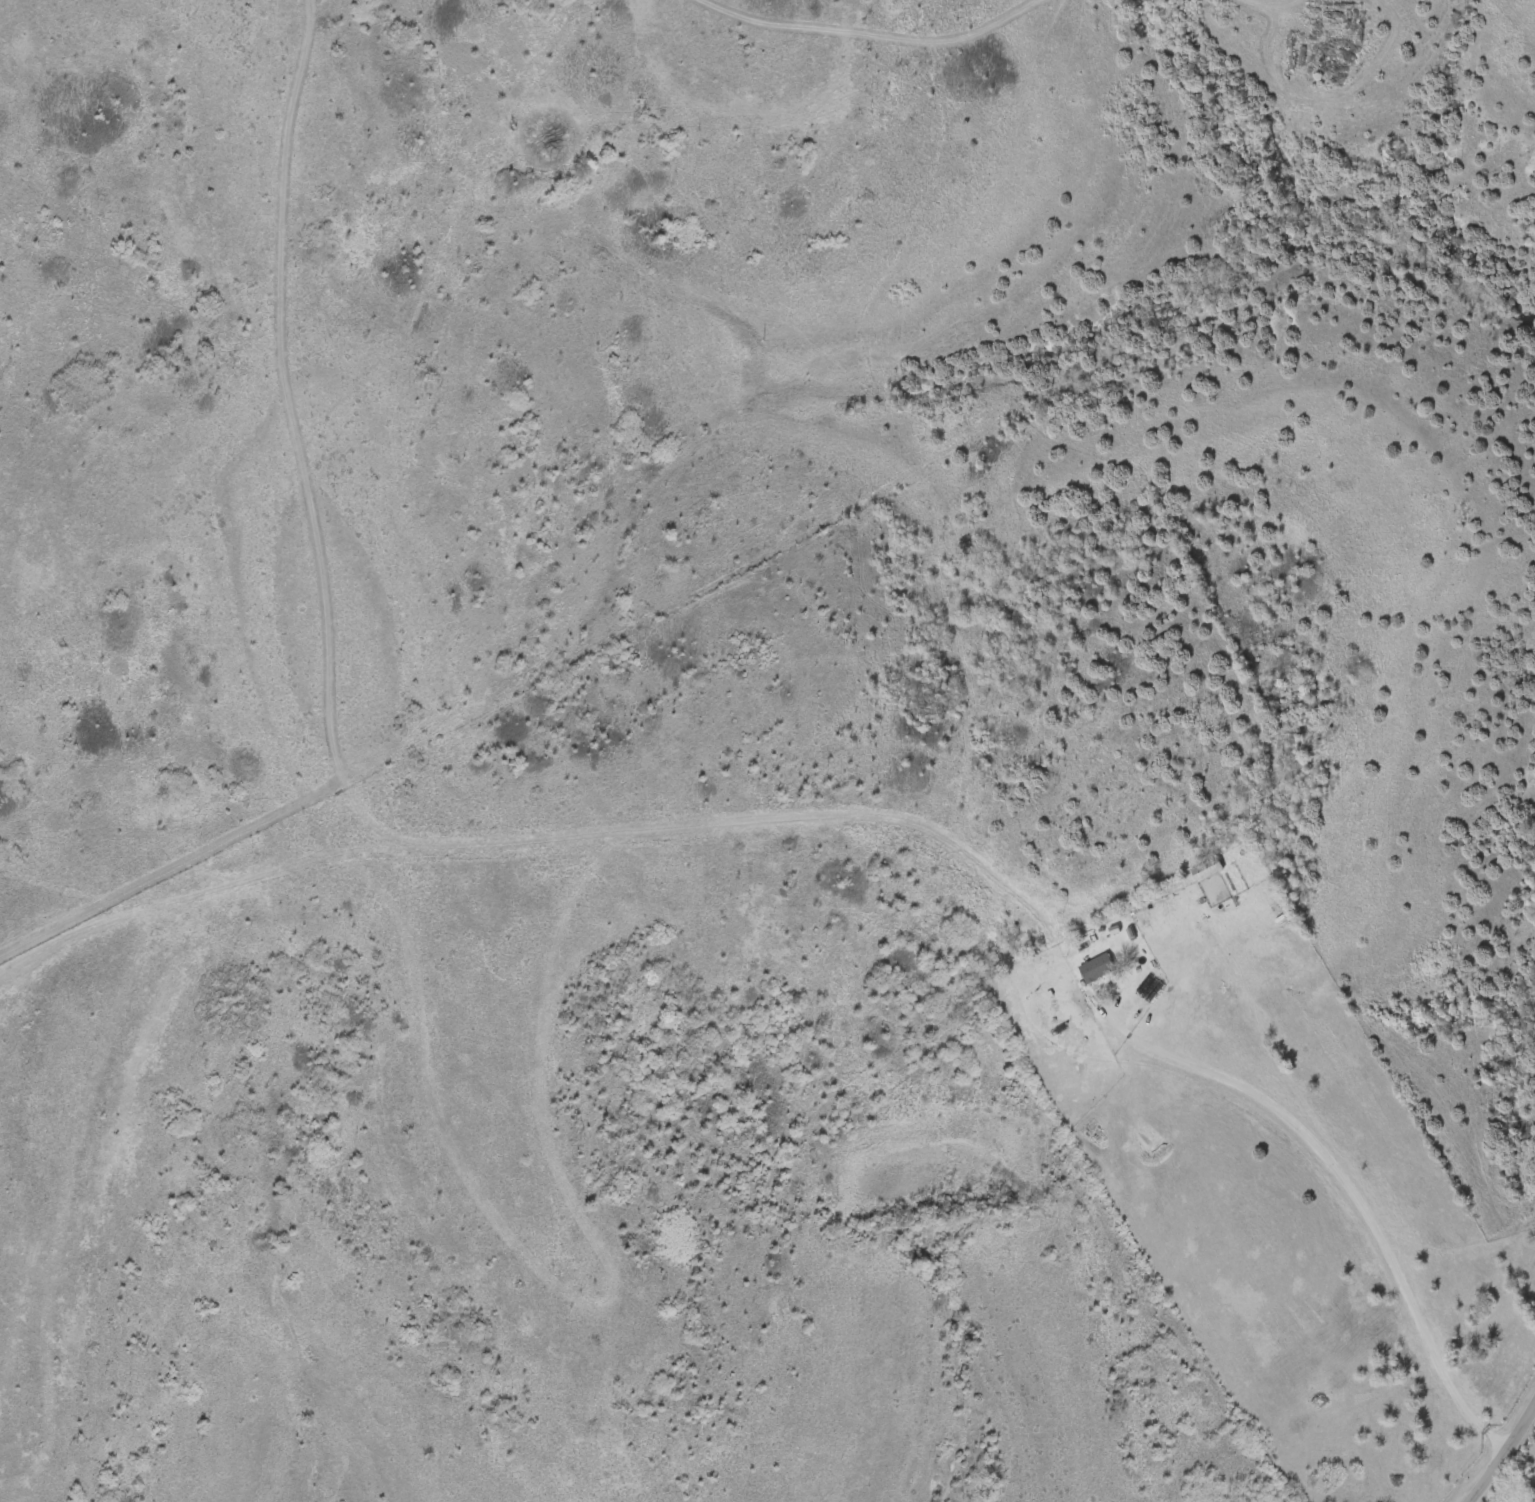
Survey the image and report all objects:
building: (1203, 869)
building: (1094, 967)
road: (1355, 1202)
road: (1504, 1455)

